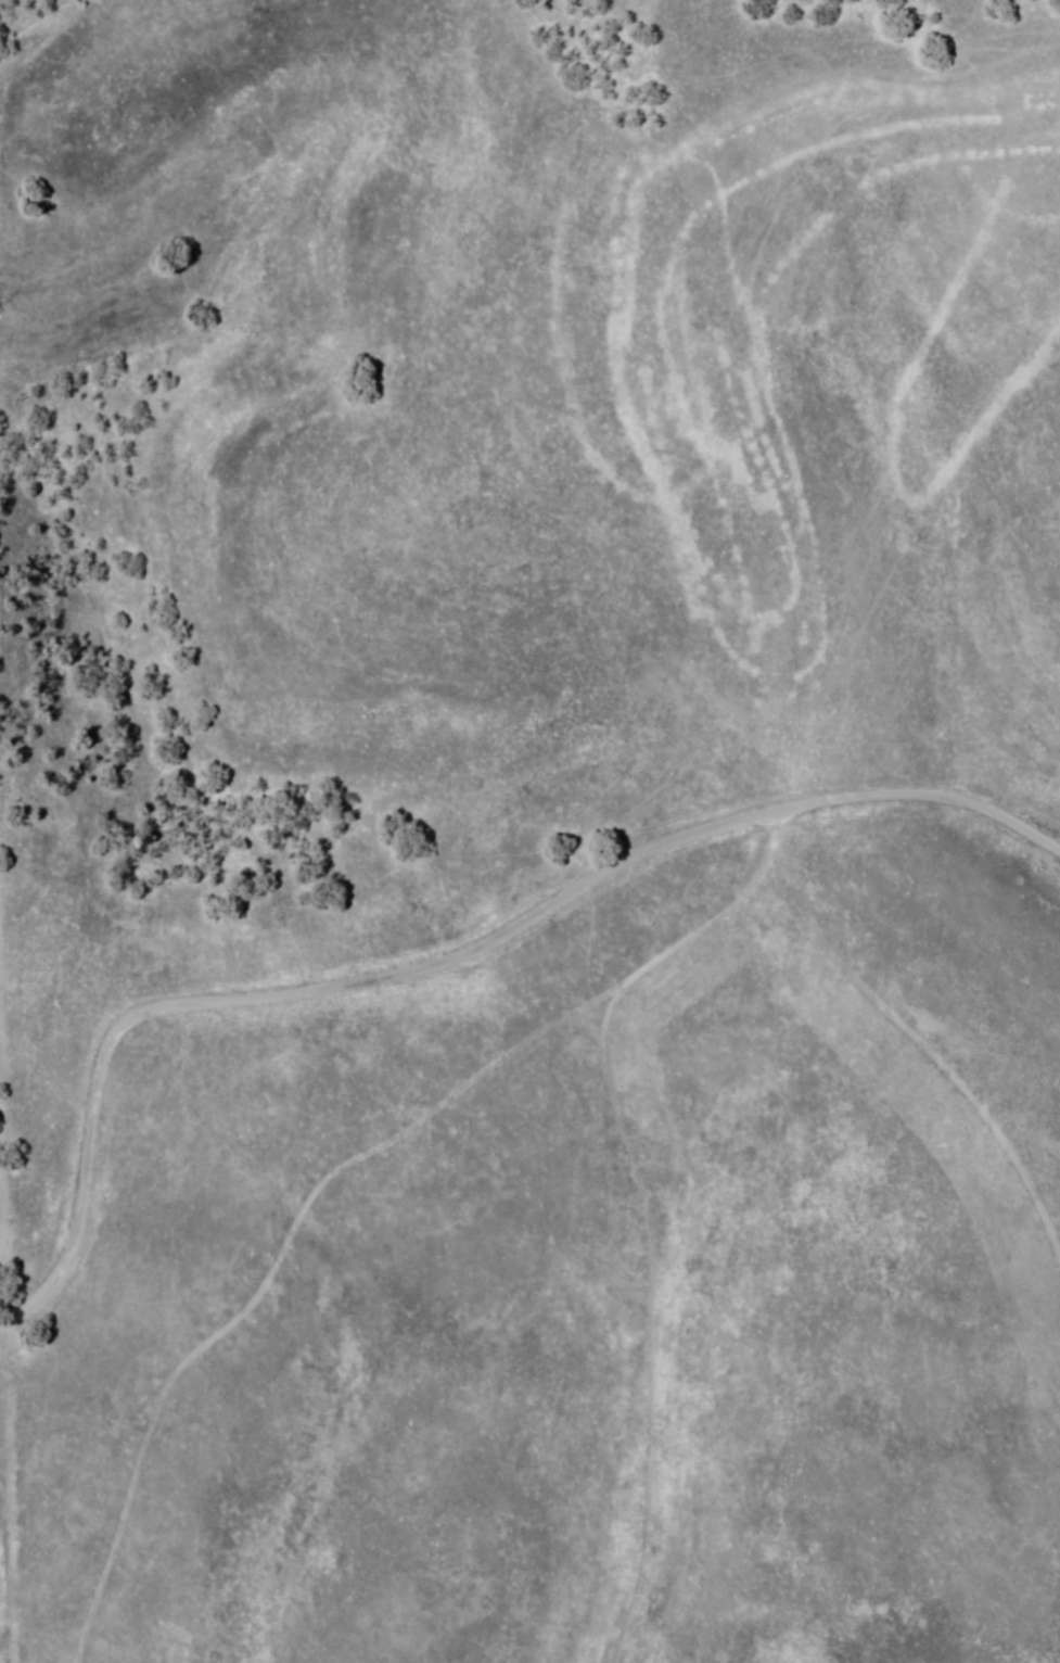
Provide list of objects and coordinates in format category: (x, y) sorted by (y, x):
road: (440, 959)
road: (576, 1228)

